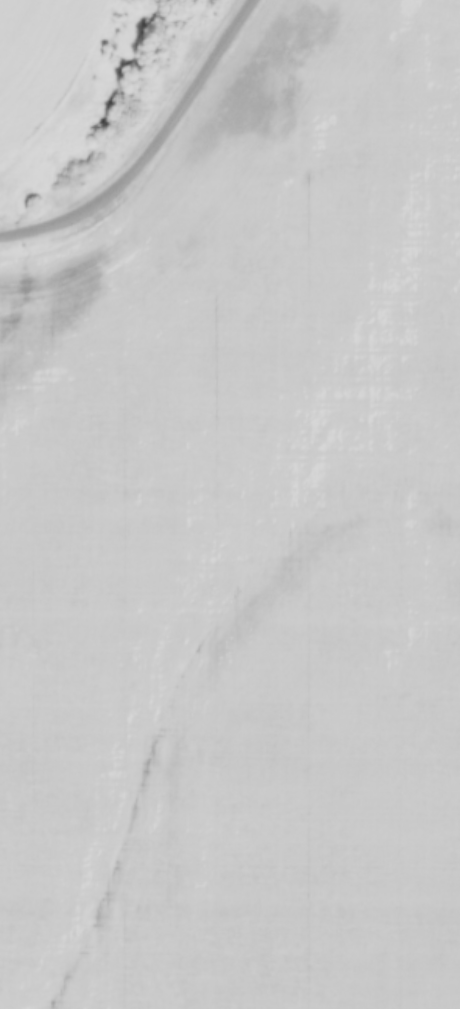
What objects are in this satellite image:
road: (150, 146)

